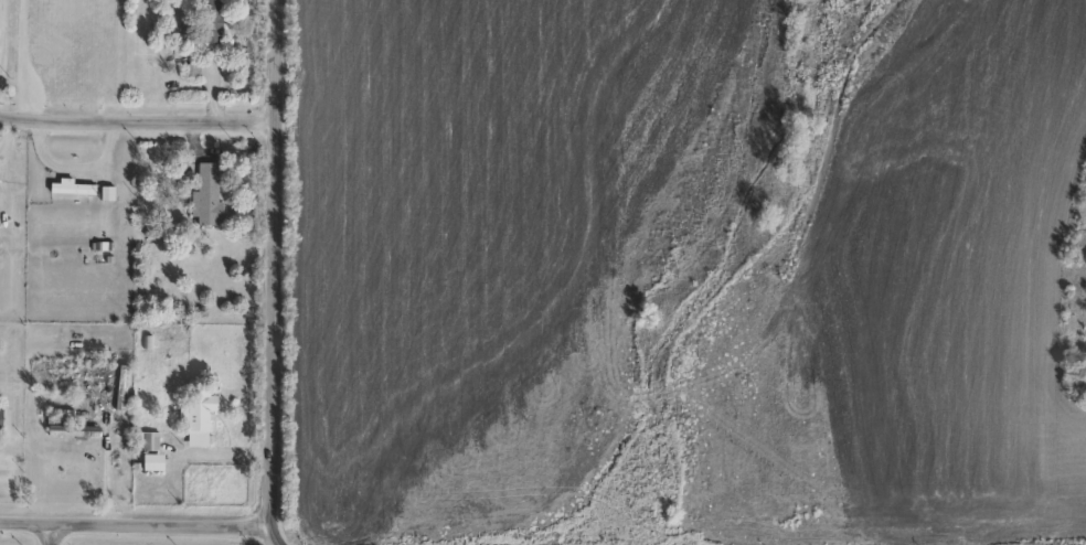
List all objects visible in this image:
building: (212, 22)
road: (1, 23)
road: (17, 60)
road: (215, 87)
road: (138, 124)
road: (9, 141)
road: (106, 150)
building: (71, 190)
building: (207, 196)
road: (278, 258)
building: (198, 417)
building: (1, 423)
building: (78, 434)
building: (147, 444)
road: (237, 448)
building: (153, 464)
road: (138, 520)
road: (279, 531)
road: (51, 534)

